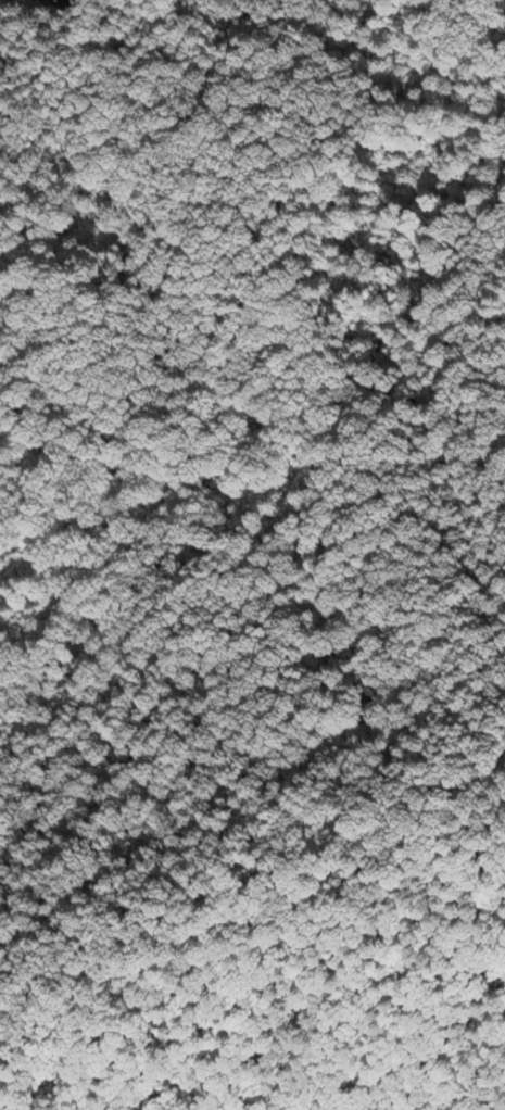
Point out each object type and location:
building: (48, 1)

